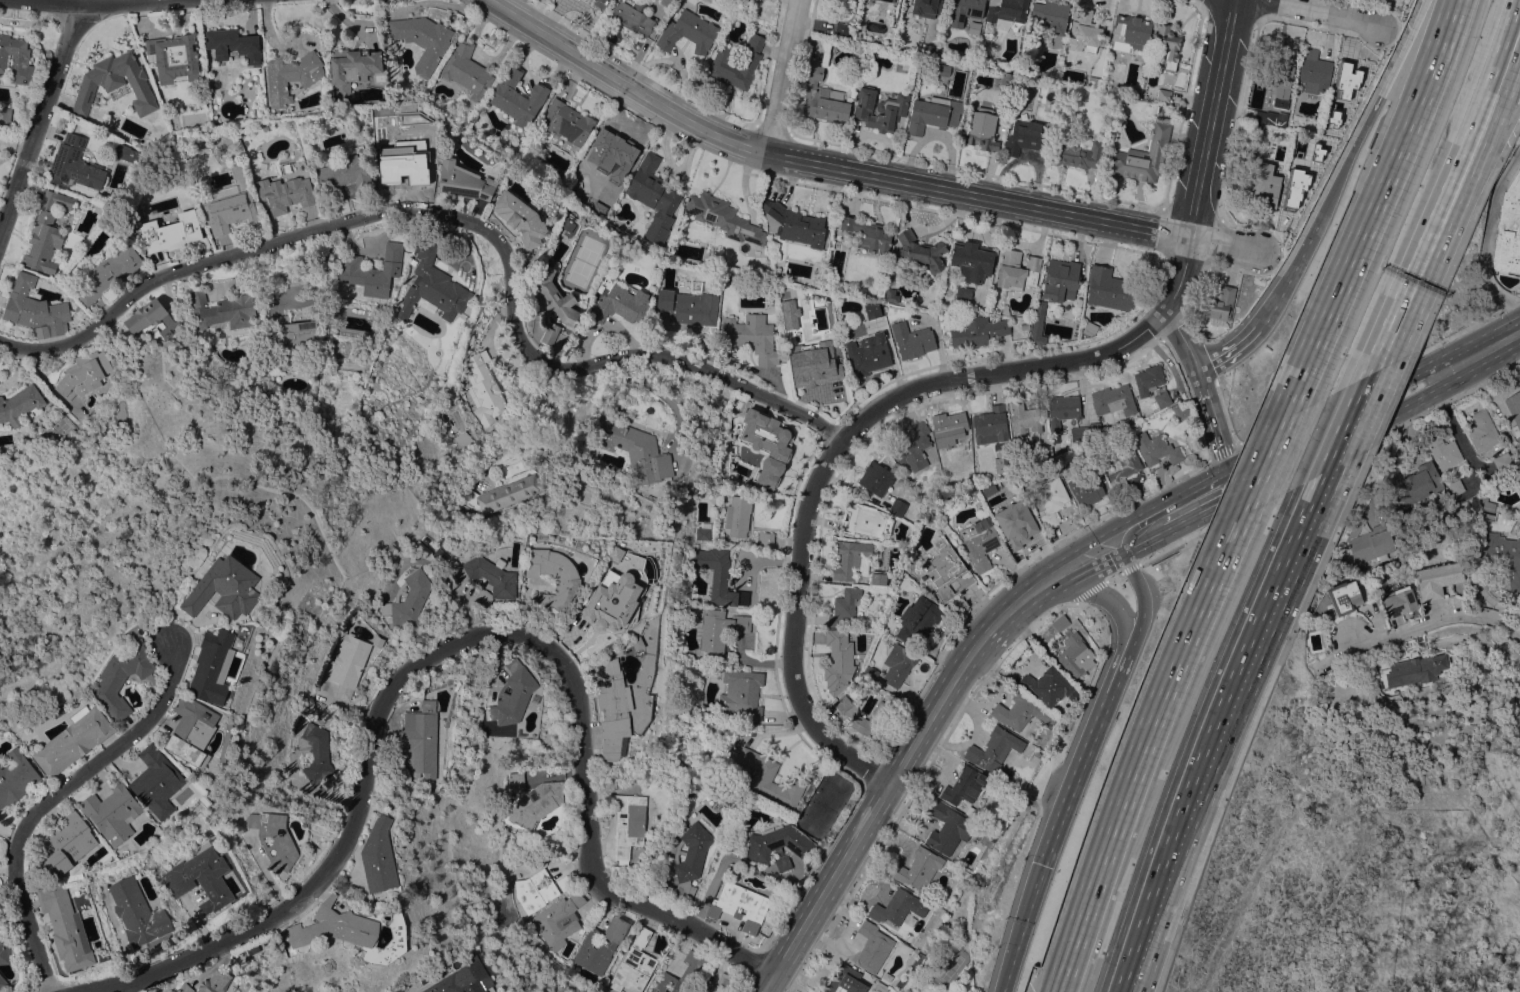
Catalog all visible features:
road: (98, 0)
building: (890, 0)
building: (600, 3)
building: (928, 7)
building: (1006, 10)
building: (966, 11)
road: (1322, 12)
building: (632, 15)
road: (1509, 15)
building: (1050, 16)
building: (862, 23)
road: (1512, 23)
building: (973, 27)
building: (842, 29)
building: (1086, 29)
building: (689, 32)
building: (1130, 33)
building: (421, 39)
building: (232, 45)
road: (1402, 46)
building: (1167, 47)
building: (929, 50)
building: (175, 57)
building: (16, 59)
building: (752, 62)
building: (353, 68)
building: (466, 70)
building: (944, 70)
building: (1314, 71)
road: (779, 75)
building: (291, 76)
building: (1281, 77)
building: (1007, 78)
building: (115, 83)
road: (1484, 85)
building: (1163, 95)
building: (518, 97)
building: (824, 98)
building: (880, 109)
building: (934, 113)
building: (5, 115)
road: (40, 117)
building: (1269, 118)
road: (1492, 120)
building: (568, 122)
building: (1112, 127)
building: (264, 128)
building: (983, 129)
building: (1027, 137)
building: (128, 153)
building: (1079, 154)
road: (1201, 155)
building: (1142, 156)
road: (1346, 158)
building: (604, 160)
building: (414, 161)
road: (820, 162)
building: (75, 164)
building: (388, 174)
building: (344, 175)
road: (1446, 179)
building: (464, 181)
building: (1261, 190)
building: (284, 194)
building: (654, 197)
building: (163, 211)
building: (230, 211)
building: (724, 217)
building: (521, 218)
road: (461, 220)
building: (567, 223)
building: (794, 224)
building: (1508, 230)
building: (169, 232)
building: (46, 233)
building: (868, 234)
road: (1487, 237)
road: (1223, 245)
building: (921, 252)
building: (972, 260)
building: (413, 261)
building: (1017, 270)
building: (372, 271)
building: (108, 274)
road: (1285, 275)
building: (1060, 280)
building: (433, 286)
building: (1112, 289)
building: (891, 295)
building: (963, 295)
building: (554, 297)
building: (621, 303)
building: (1217, 303)
building: (689, 307)
building: (34, 309)
building: (874, 309)
building: (221, 311)
building: (146, 315)
building: (789, 315)
building: (667, 320)
building: (806, 325)
building: (1038, 325)
building: (1024, 326)
building: (1090, 328)
building: (290, 331)
building: (977, 331)
building: (550, 334)
building: (752, 336)
road: (1181, 338)
building: (912, 340)
road: (1229, 351)
road: (1483, 351)
building: (869, 355)
road: (1433, 371)
building: (817, 372)
building: (83, 374)
building: (1148, 379)
building: (485, 391)
road: (1428, 394)
building: (1162, 399)
building: (1113, 400)
building: (19, 404)
building: (1063, 409)
building: (1181, 411)
building: (1514, 411)
road: (1213, 418)
building: (1025, 421)
building: (990, 425)
building: (951, 429)
building: (1482, 431)
building: (1086, 433)
building: (464, 441)
building: (767, 443)
building: (913, 447)
building: (1156, 449)
building: (634, 450)
building: (1444, 451)
building: (1045, 453)
road: (830, 454)
building: (1083, 454)
building: (1002, 461)
building: (1502, 462)
building: (1122, 465)
traffic signals: (1230, 467)
road: (1221, 471)
building: (876, 479)
building: (1419, 484)
building: (1456, 487)
road: (1186, 489)
building: (1086, 490)
building: (502, 492)
traffic signals: (1240, 493)
road: (1254, 493)
building: (1052, 501)
building: (1486, 505)
building: (898, 506)
building: (738, 516)
building: (864, 519)
road: (1185, 521)
building: (1015, 523)
road: (1134, 524)
building: (703, 531)
road: (1095, 536)
building: (765, 539)
building: (424, 540)
building: (980, 542)
building: (1370, 542)
road: (1144, 543)
building: (531, 544)
building: (440, 554)
traffic signals: (1123, 555)
building: (1503, 556)
building: (851, 557)
road: (1098, 568)
building: (947, 572)
building: (717, 576)
building: (554, 577)
building: (485, 578)
building: (1438, 579)
building: (878, 580)
road: (1057, 582)
building: (228, 588)
building: (1344, 597)
building: (409, 599)
building: (611, 600)
building: (1400, 601)
road: (1263, 602)
building: (844, 606)
road: (1012, 606)
road: (1120, 616)
road: (1141, 616)
building: (919, 619)
road: (1434, 620)
building: (1061, 623)
building: (721, 628)
road: (447, 641)
building: (1421, 644)
building: (1397, 651)
building: (838, 654)
building: (1075, 655)
building: (351, 660)
building: (898, 664)
building: (217, 665)
road: (960, 667)
building: (1416, 670)
building: (871, 672)
building: (1381, 673)
building: (125, 678)
building: (1026, 680)
building: (1053, 686)
building: (155, 689)
building: (742, 692)
building: (514, 694)
building: (1021, 711)
building: (612, 713)
building: (852, 715)
building: (196, 731)
building: (421, 738)
building: (78, 740)
road: (913, 742)
building: (994, 749)
building: (313, 753)
road: (1080, 771)
building: (1006, 776)
building: (18, 778)
building: (769, 778)
building: (161, 781)
building: (516, 781)
building: (965, 785)
road: (55, 795)
building: (536, 803)
building: (117, 812)
building: (628, 823)
building: (949, 828)
building: (277, 838)
building: (70, 844)
building: (779, 845)
building: (690, 855)
building: (380, 856)
traffic signals: (1044, 865)
building: (921, 867)
building: (203, 876)
building: (564, 882)
road: (828, 886)
building: (535, 890)
building: (692, 894)
building: (0, 897)
building: (740, 905)
building: (893, 906)
building: (141, 912)
building: (559, 920)
building: (336, 926)
building: (70, 928)
road: (1021, 928)
building: (601, 945)
building: (873, 947)
building: (6, 950)
road: (630, 950)
building: (635, 964)
building: (683, 974)
building: (725, 979)
building: (456, 980)
building: (842, 980)
building: (4, 981)
building: (218, 981)
building: (880, 987)
building: (188, 988)
building: (482, 990)

